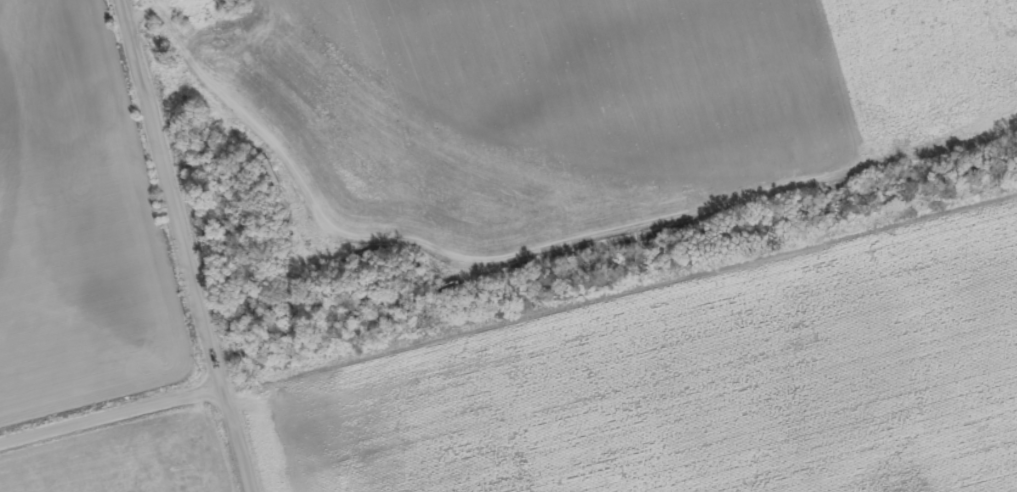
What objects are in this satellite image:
road: (185, 245)
road: (110, 411)

